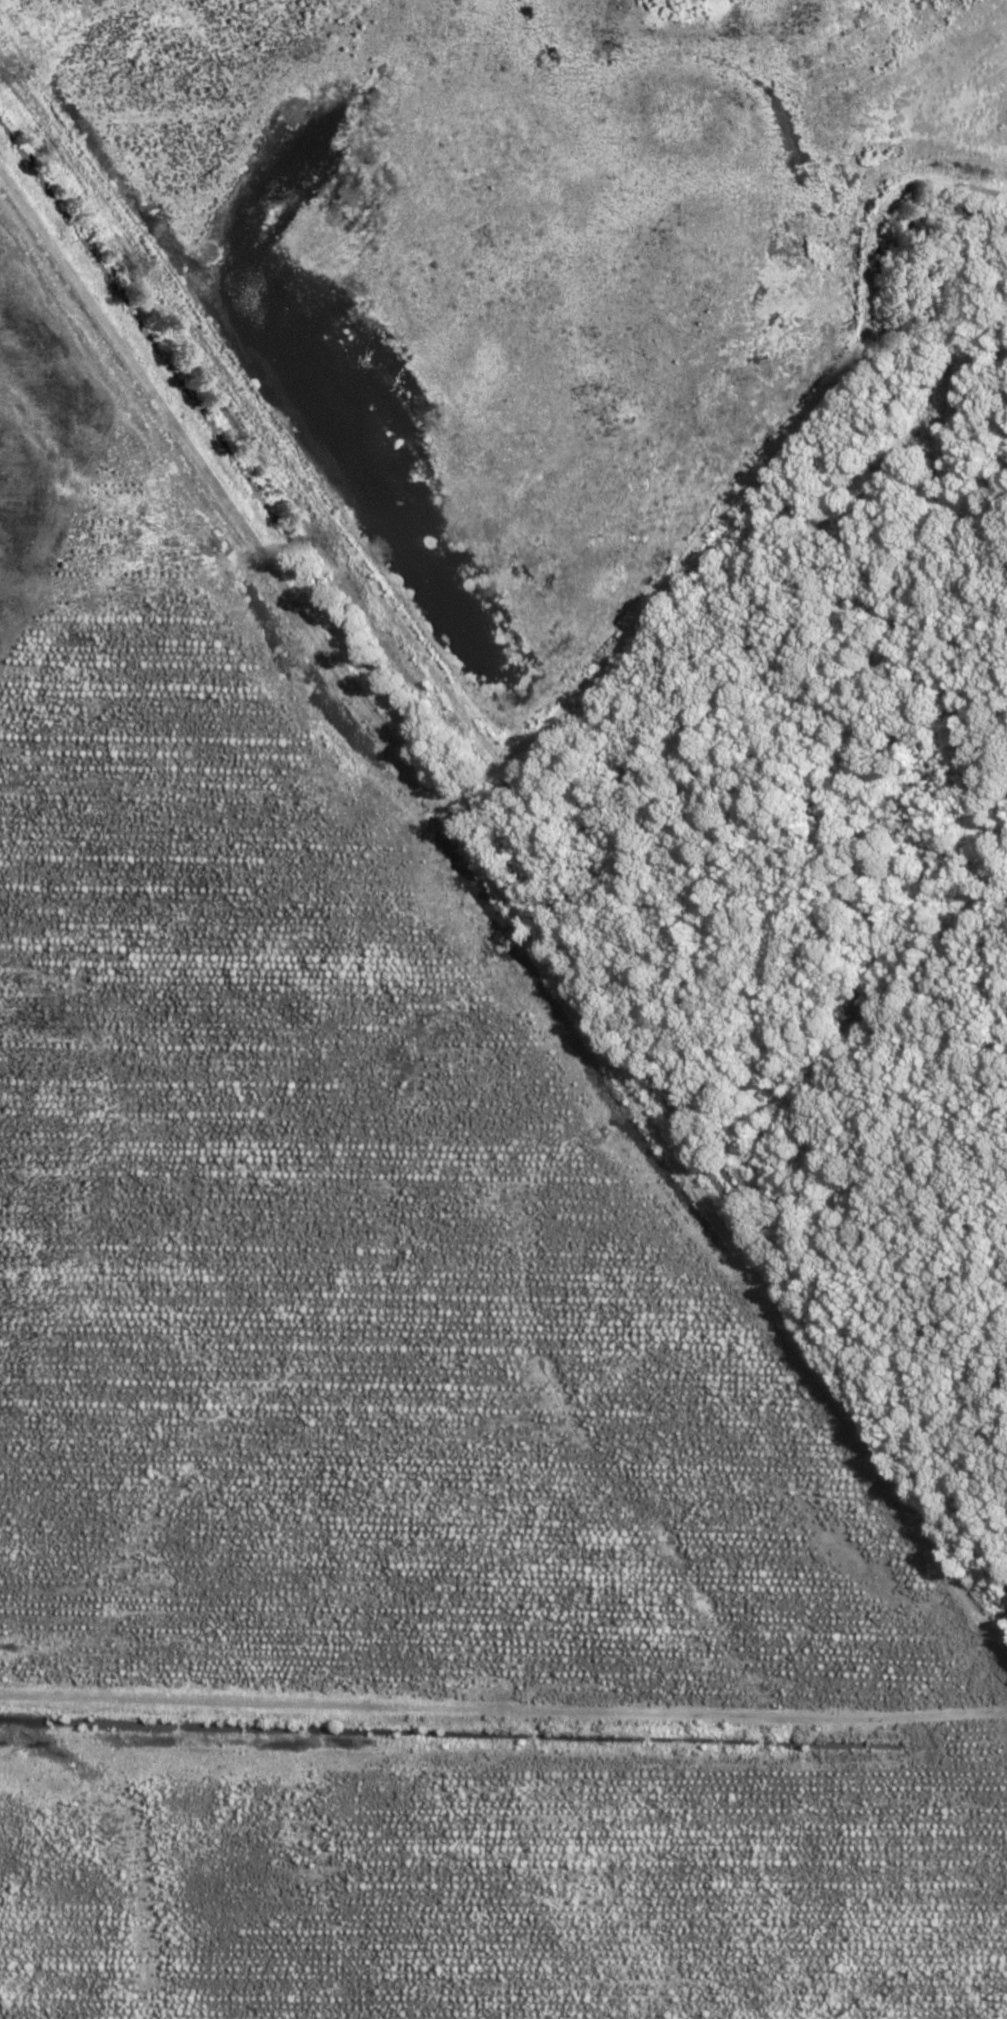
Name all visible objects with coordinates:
road: (896, 1477)

